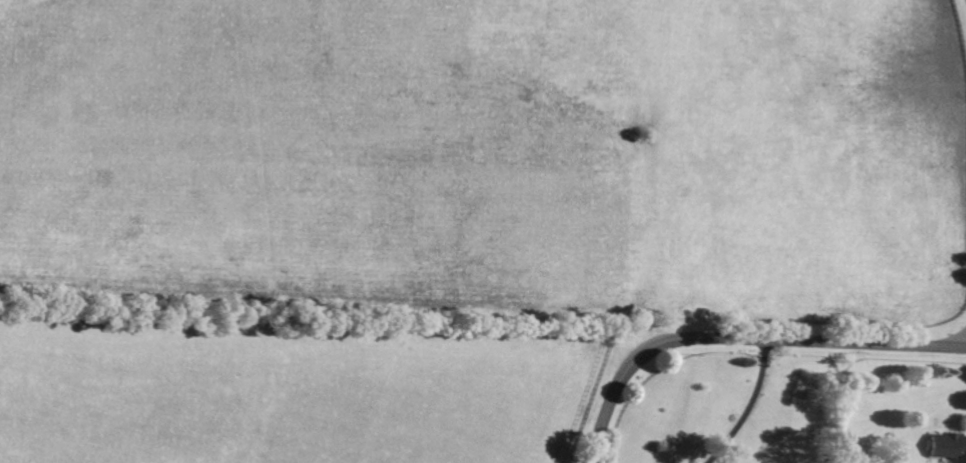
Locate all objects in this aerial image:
road: (742, 340)
road: (749, 407)
building: (947, 445)

